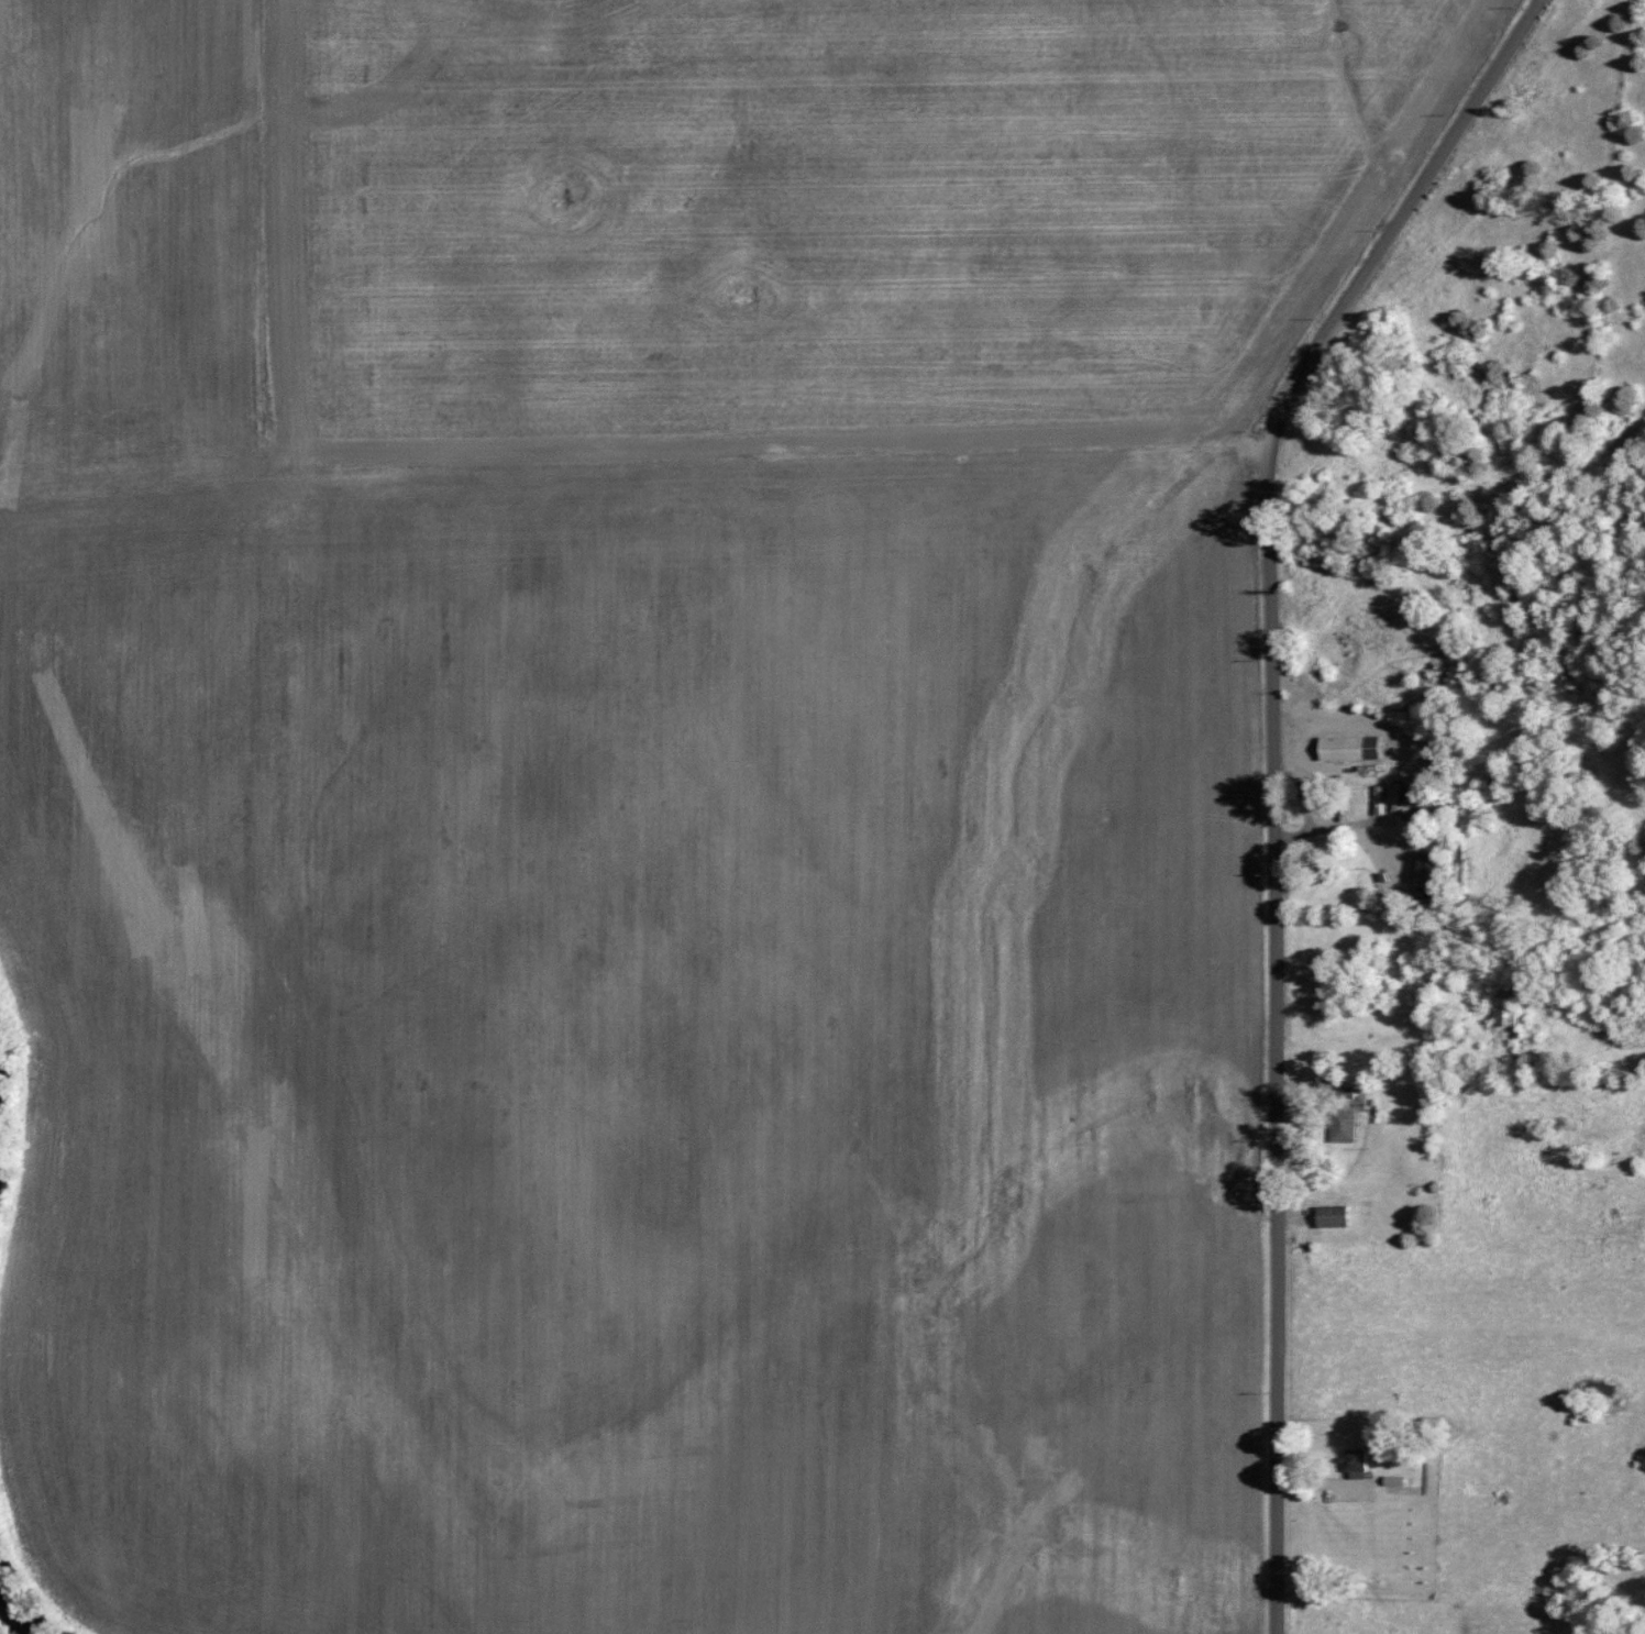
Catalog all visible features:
road: (1400, 218)
building: (1347, 747)
road: (1338, 832)
building: (1424, 865)
building: (1504, 1006)
road: (1278, 1037)
building: (1342, 1124)
river: (9, 1144)
building: (1329, 1215)
building: (1353, 1462)
river: (20, 1616)

